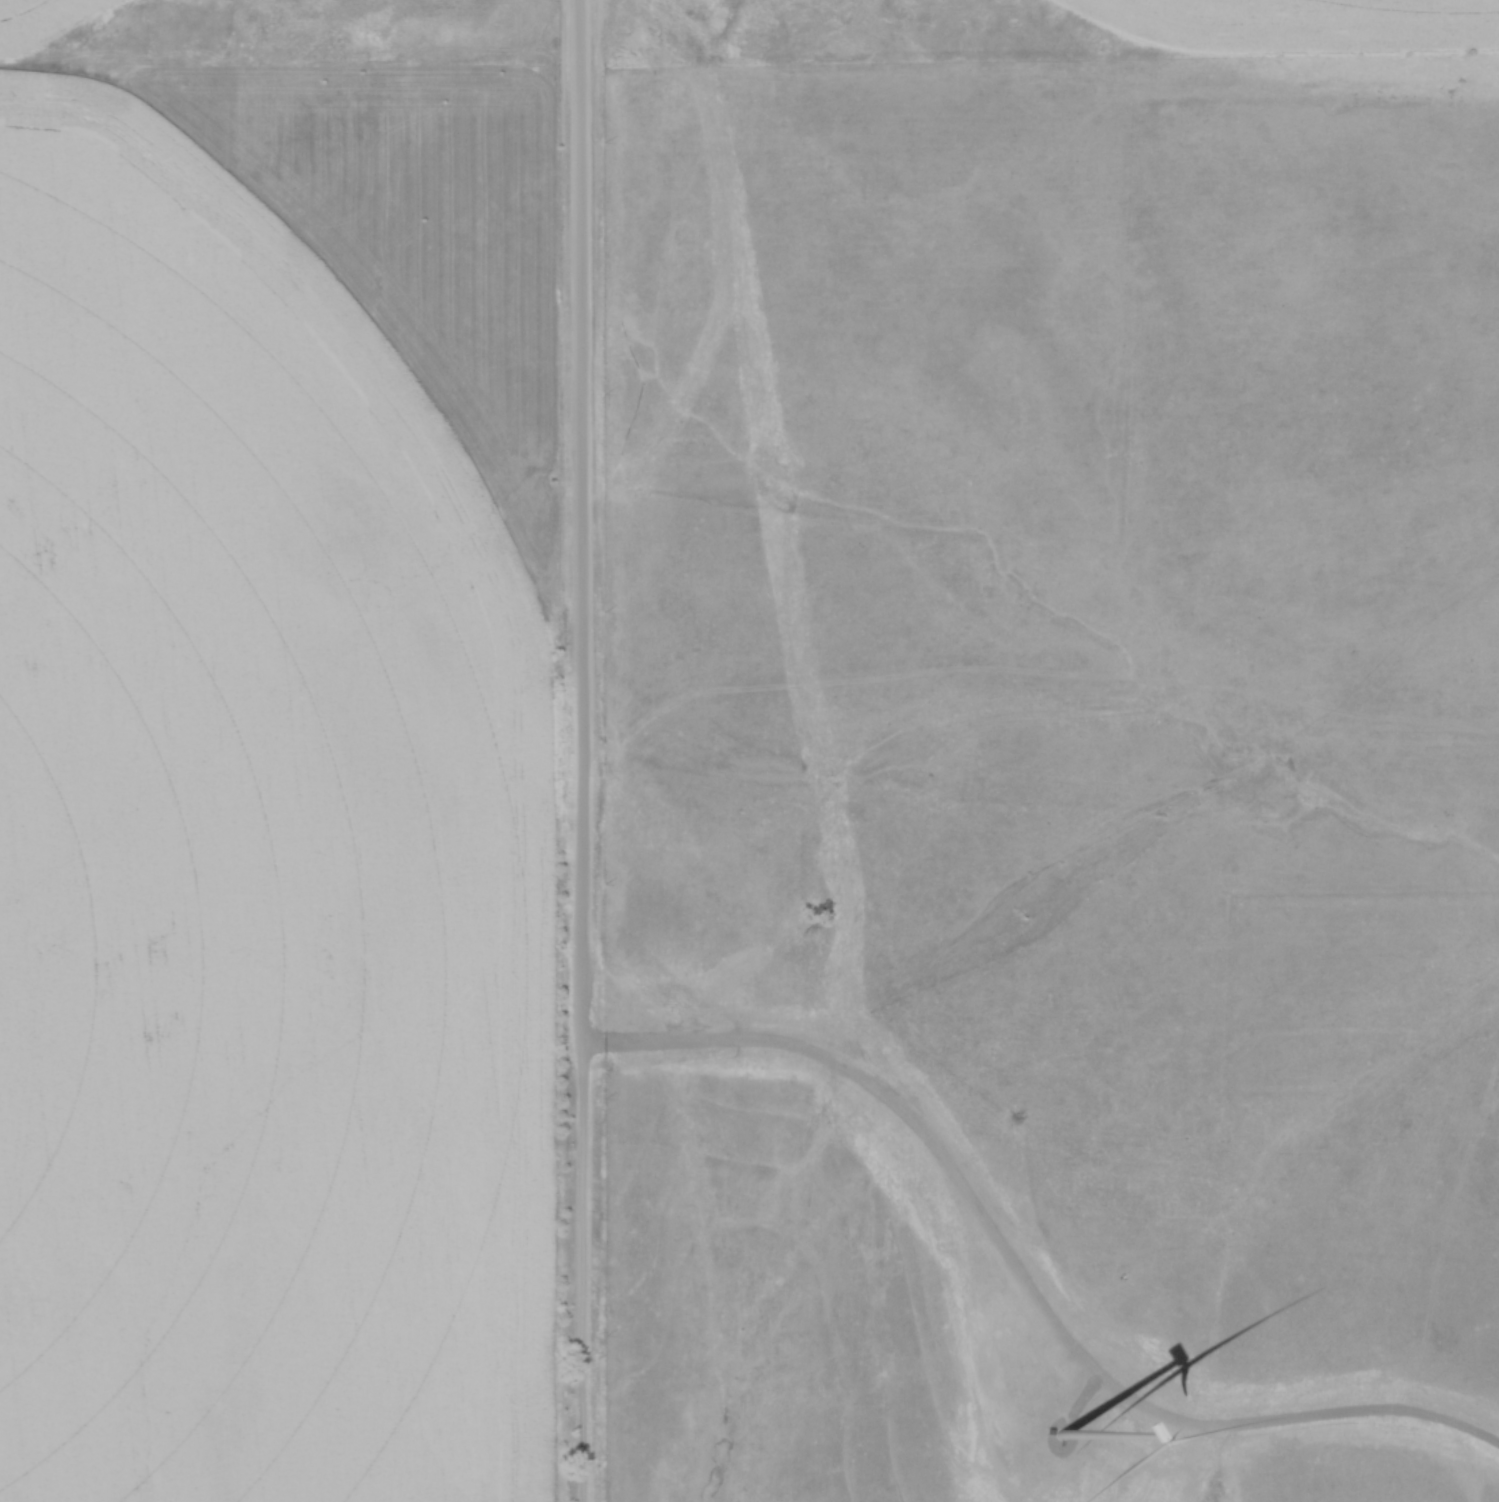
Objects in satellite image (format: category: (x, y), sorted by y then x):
road: (586, 751)
wind turbine: (1061, 1434)

